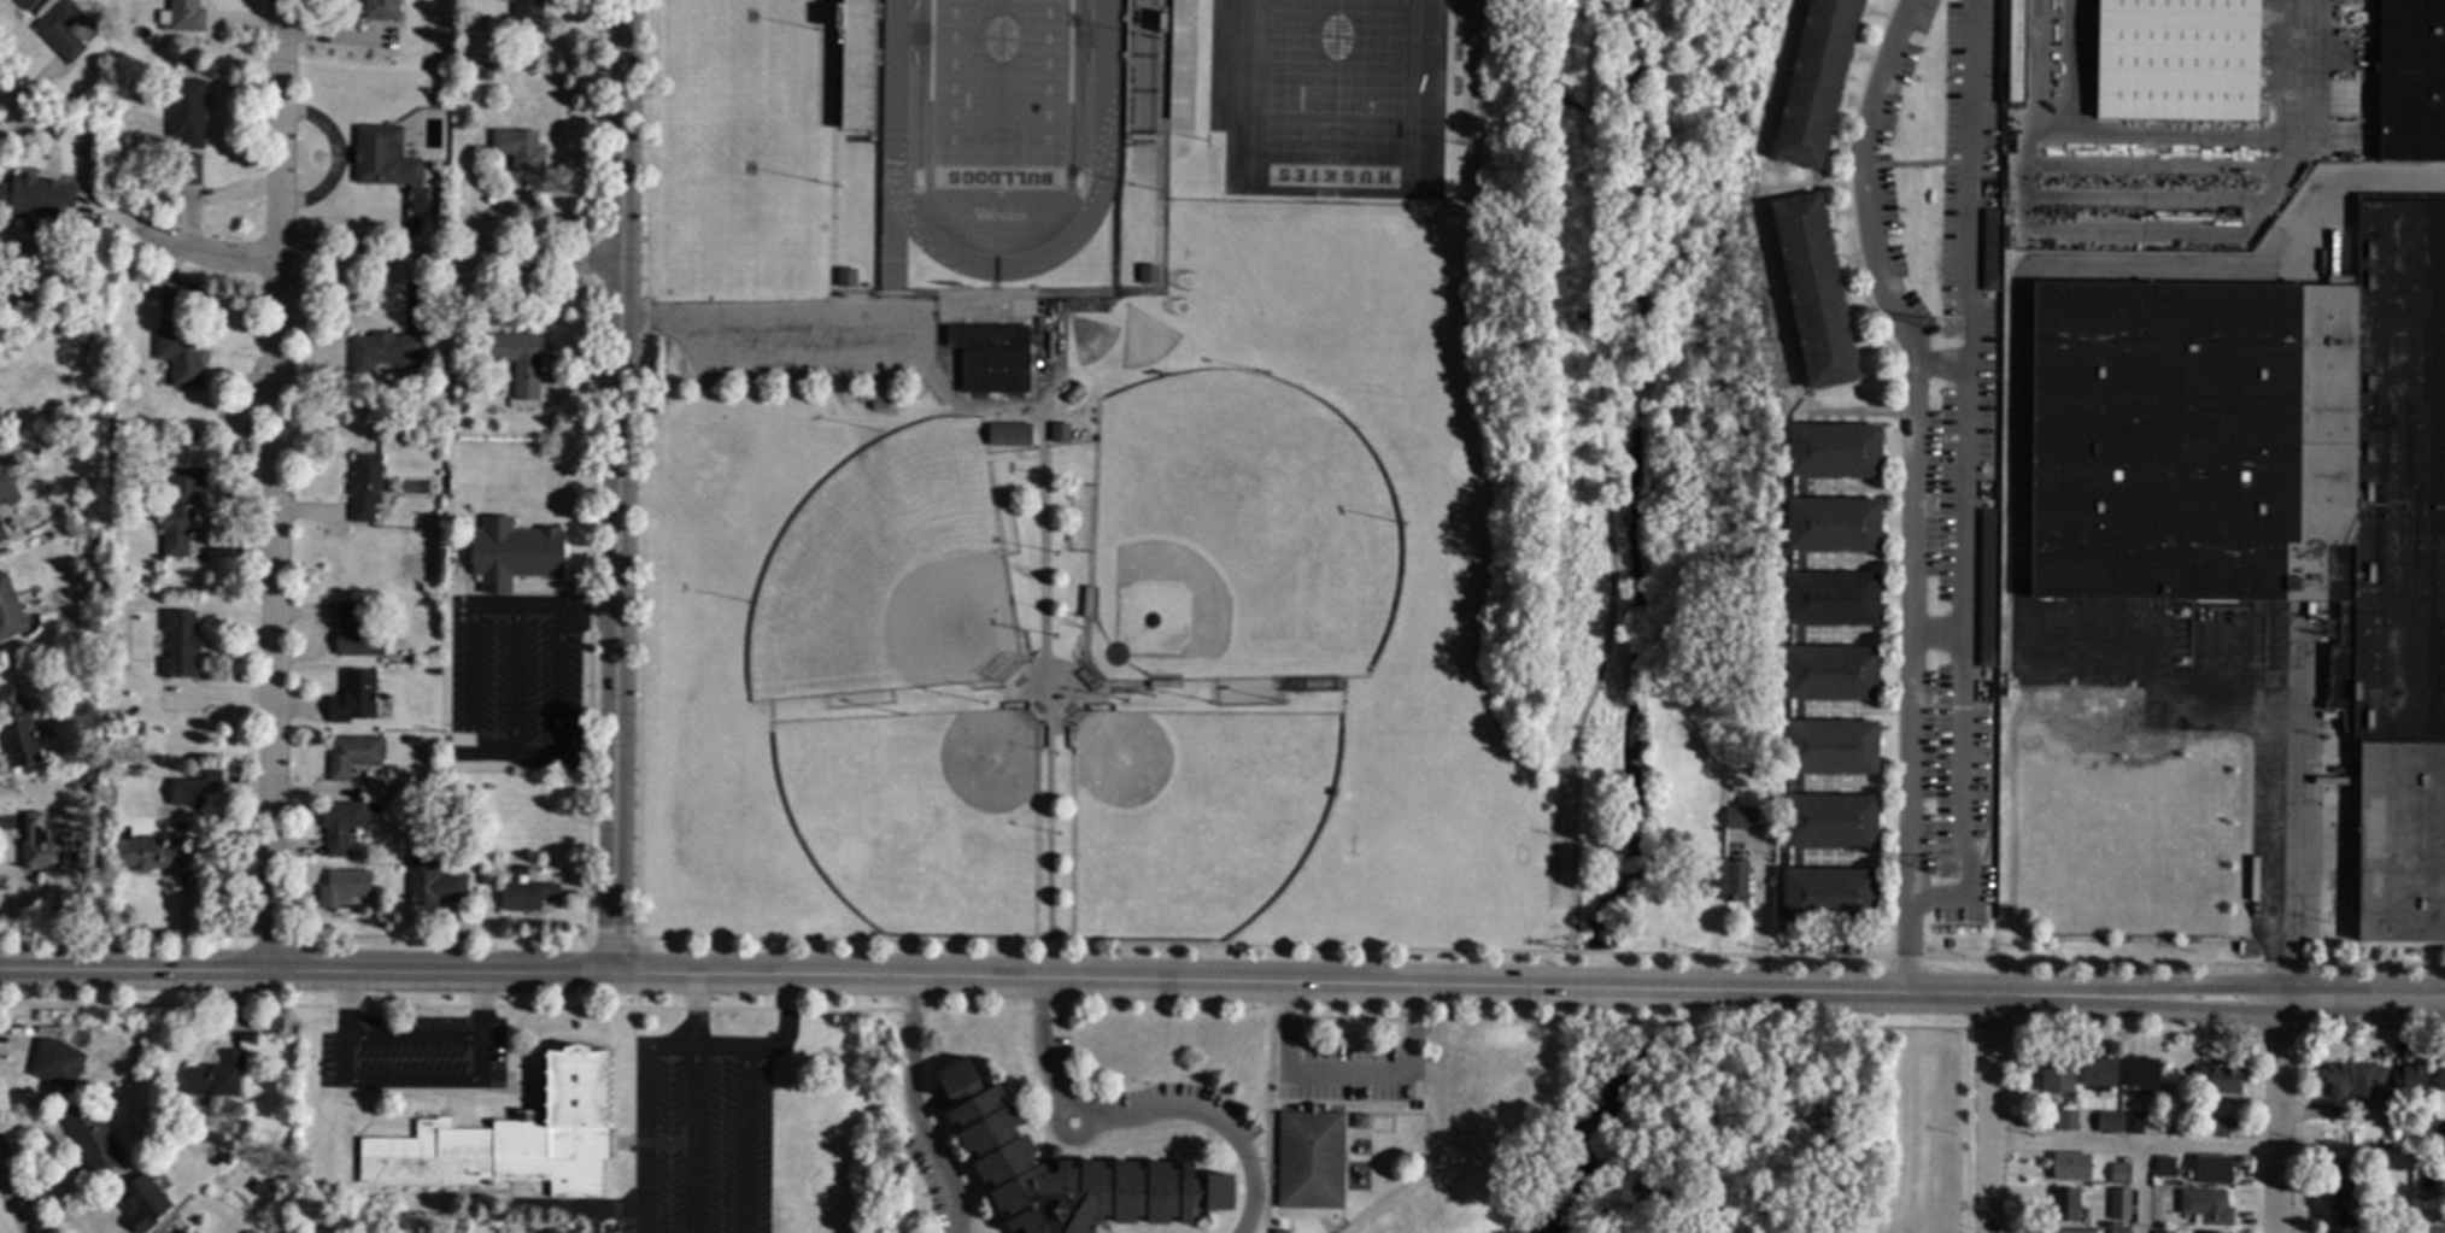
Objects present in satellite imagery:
building: (27, 4)
building: (381, 8)
building: (527, 8)
building: (183, 16)
building: (61, 29)
road: (1589, 48)
building: (2015, 49)
building: (2176, 60)
road: (2322, 63)
building: (2411, 81)
building: (1816, 82)
park: (998, 93)
park: (1333, 94)
road: (14, 105)
building: (186, 112)
road: (1583, 116)
park: (744, 134)
building: (142, 136)
building: (520, 149)
building: (383, 157)
road: (336, 159)
building: (190, 169)
building: (39, 196)
building: (1992, 249)
road: (377, 264)
building: (1147, 274)
building: (845, 277)
building: (1813, 290)
road: (652, 319)
power tower: (1954, 330)
park: (1090, 337)
park: (1143, 339)
road: (922, 346)
building: (383, 351)
road: (2015, 352)
building: (181, 354)
building: (992, 357)
building: (518, 364)
road: (1942, 365)
building: (1073, 393)
building: (111, 431)
building: (1059, 433)
building: (1007, 434)
road: (1913, 439)
building: (112, 445)
building: (1833, 450)
building: (5, 453)
building: (439, 472)
road: (1970, 472)
park: (1665, 478)
building: (364, 486)
road: (276, 487)
road: (618, 488)
building: (2275, 493)
road: (1, 494)
building: (180, 511)
building: (1833, 524)
park: (1250, 528)
building: (93, 529)
building: (2, 533)
road: (1608, 534)
building: (512, 553)
park: (905, 569)
building: (1988, 589)
building: (1831, 599)
road: (1042, 600)
road: (544, 607)
building: (2274, 607)
building: (10, 610)
road: (28, 633)
building: (356, 633)
road: (1940, 634)
road: (323, 635)
building: (180, 644)
building: (86, 650)
building: (435, 670)
building: (1830, 673)
road: (514, 682)
road: (555, 682)
road: (470, 685)
building: (353, 697)
building: (1673, 705)
building: (1699, 705)
building: (1707, 706)
building: (135, 726)
building: (18, 728)
building: (412, 741)
building: (1683, 742)
building: (1830, 747)
building: (351, 755)
road: (512, 757)
building: (131, 769)
building: (89, 774)
building: (194, 789)
building: (1687, 793)
road: (2281, 802)
building: (430, 809)
park: (1192, 814)
park: (921, 817)
building: (1742, 818)
building: (1829, 821)
building: (340, 824)
building: (40, 844)
building: (154, 855)
power tower: (1948, 869)
building: (481, 877)
building: (1735, 880)
building: (433, 883)
building: (342, 887)
building: (1828, 894)
building: (527, 896)
road: (1759, 920)
road: (609, 938)
road: (1907, 946)
road: (1541, 951)
road: (306, 975)
road: (2199, 982)
road: (2362, 984)
road: (1128, 985)
road: (1883, 997)
road: (345, 1008)
road: (482, 1009)
road: (2199, 1009)
road: (694, 1014)
road: (2362, 1014)
road: (747, 1047)
building: (51, 1056)
road: (1349, 1070)
building: (2140, 1071)
building: (2098, 1073)
building: (2057, 1075)
building: (217, 1076)
building: (2409, 1076)
building: (2220, 1078)
building: (2440, 1078)
building: (2334, 1079)
road: (345, 1085)
building: (2364, 1085)
road: (2279, 1106)
road: (915, 1110)
road: (1136, 1112)
building: (2338, 1112)
road: (1990, 1115)
building: (2154, 1115)
building: (2065, 1120)
building: (1359, 1121)
building: (2107, 1122)
building: (2132, 1122)
building: (2217, 1127)
building: (90, 1137)
building: (511, 1139)
building: (2353, 1139)
road: (746, 1140)
road: (646, 1141)
road: (694, 1141)
road: (2134, 1145)
building: (1356, 1150)
building: (1364, 1151)
building: (1309, 1158)
building: (2165, 1166)
building: (2070, 1167)
building: (2444, 1167)
park: (25, 1169)
building: (2212, 1169)
building: (1066, 1172)
building: (2119, 1174)
building: (248, 1181)
road: (2138, 1190)
building: (2343, 1194)
road: (13, 1199)
building: (142, 1202)
building: (2118, 1203)
building: (2064, 1205)
building: (2205, 1206)
building: (180, 1231)
building: (1279, 1231)
building: (2072, 1231)
building: (2119, 1231)
building: (2434, 1231)
building: (2163, 1232)

